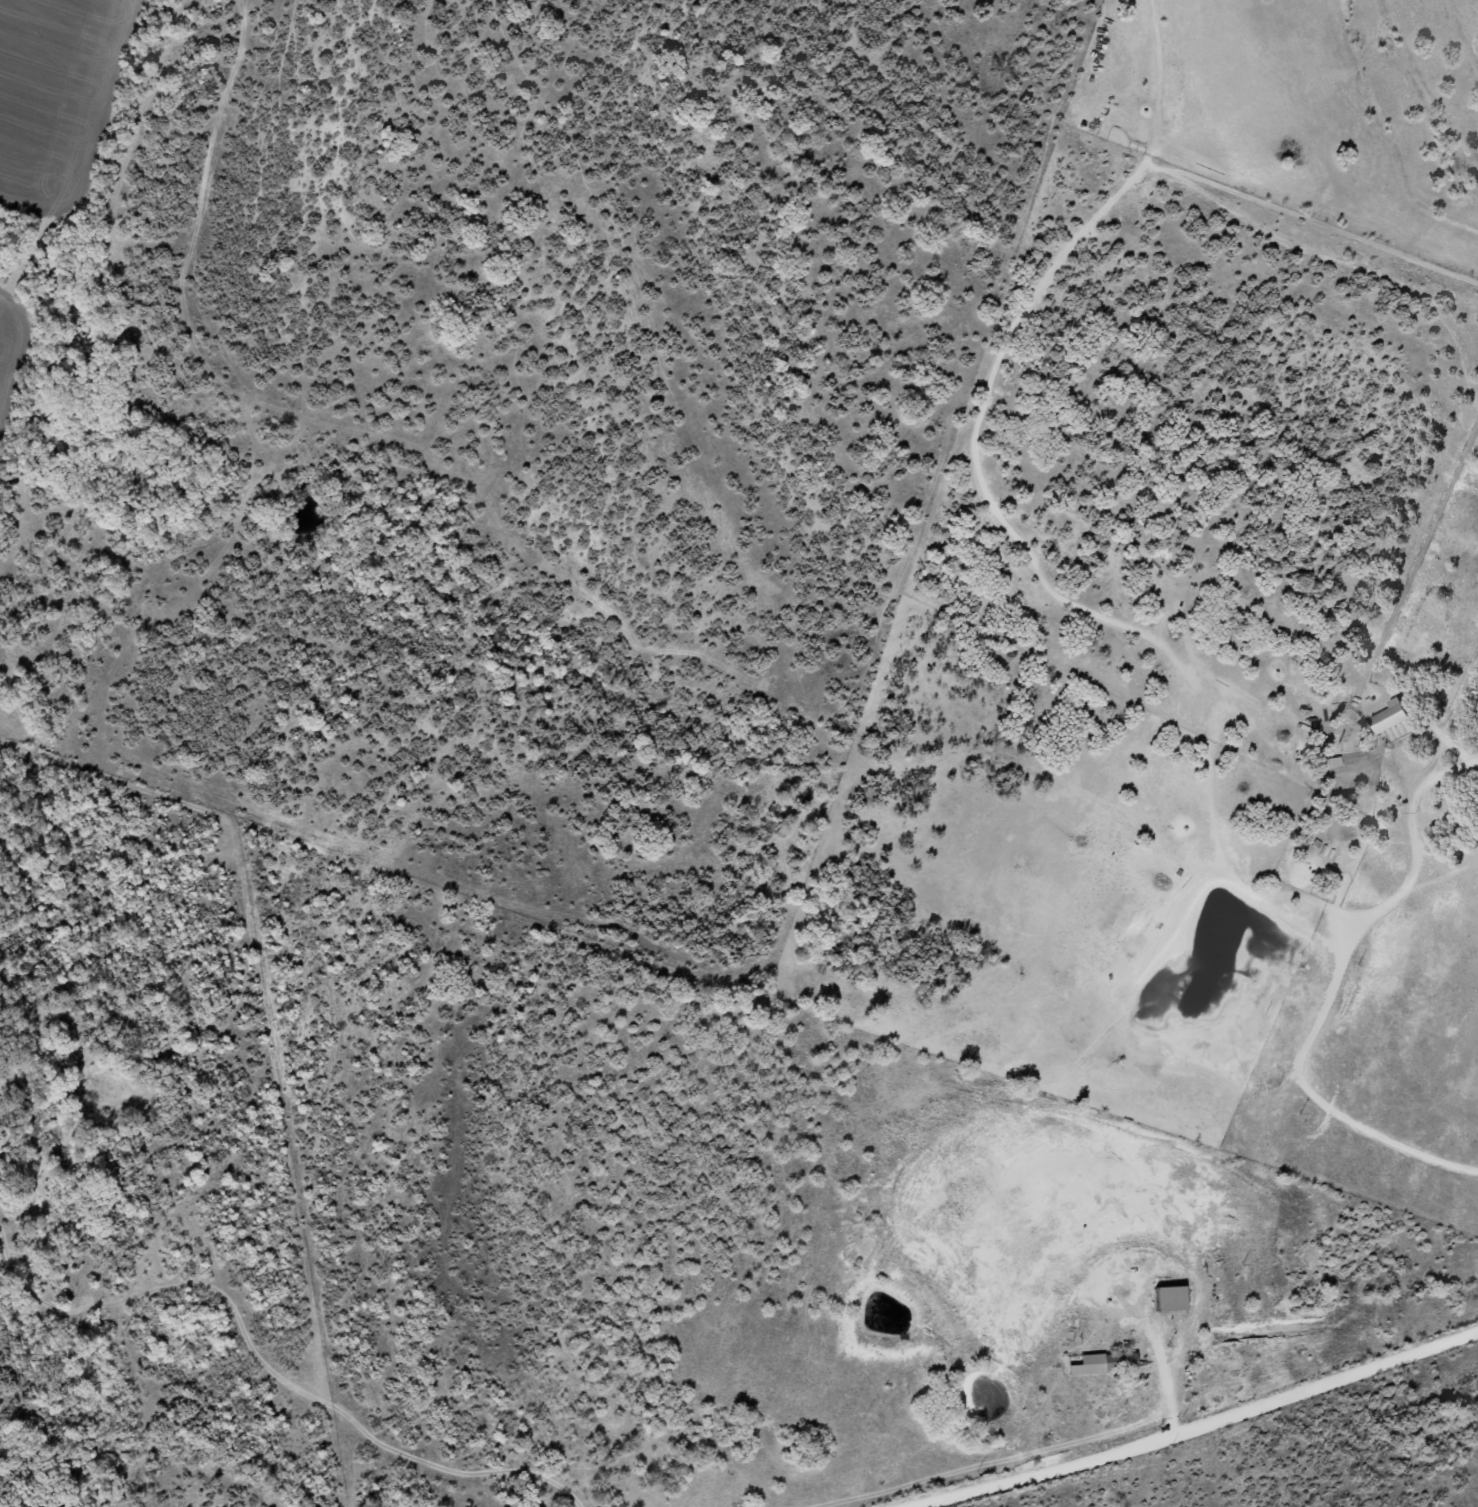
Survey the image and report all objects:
building: (1162, 1297)
building: (1098, 1364)
road: (1172, 1413)

